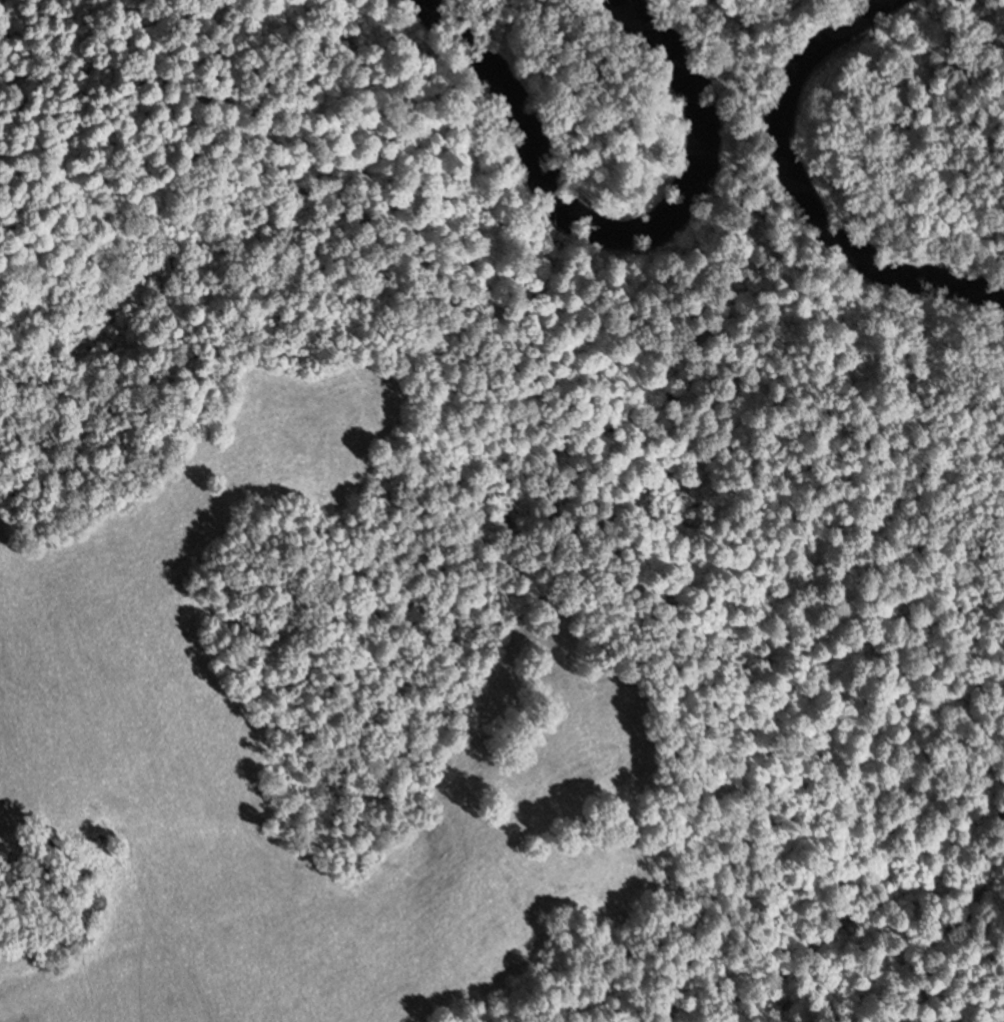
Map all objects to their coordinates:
road: (24, 979)

